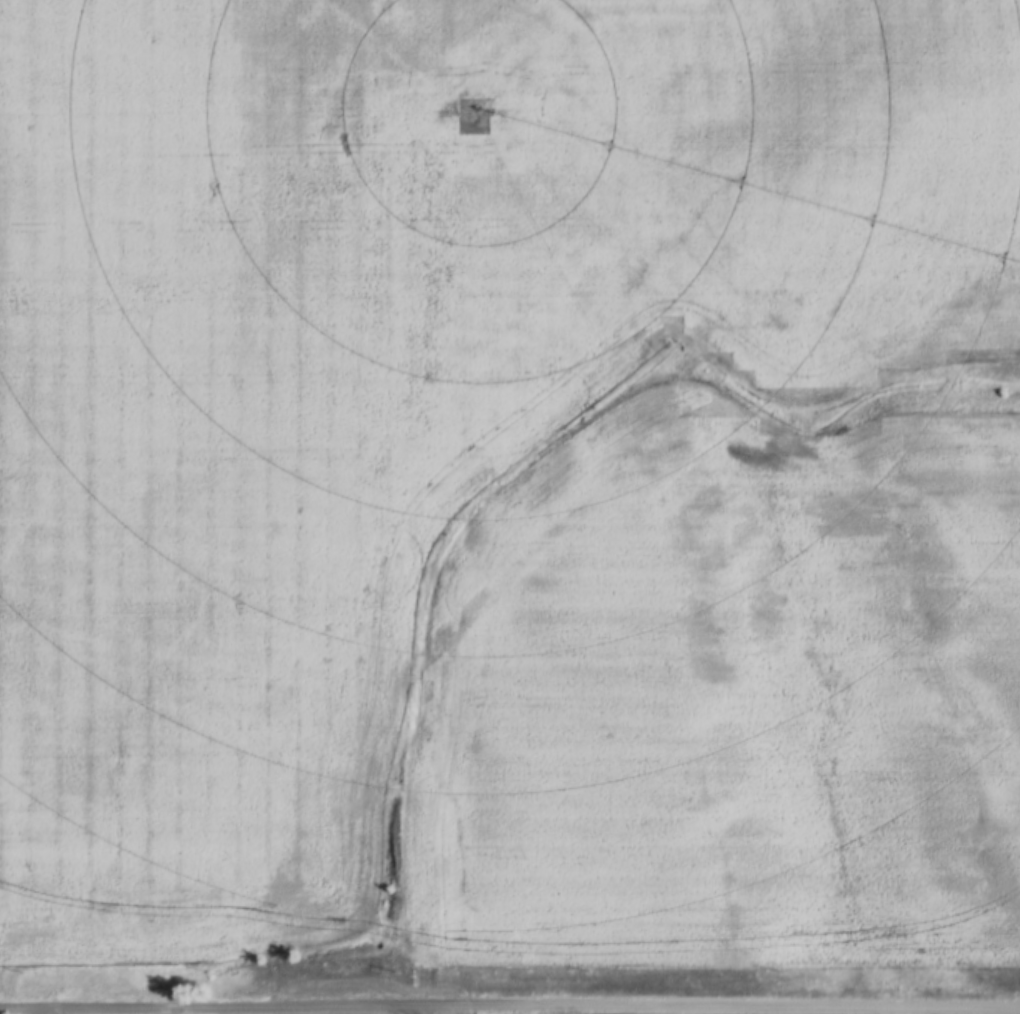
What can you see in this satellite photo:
road: (669, 312)
road: (458, 639)
road: (710, 1001)
road: (201, 1009)
road: (404, 1011)

